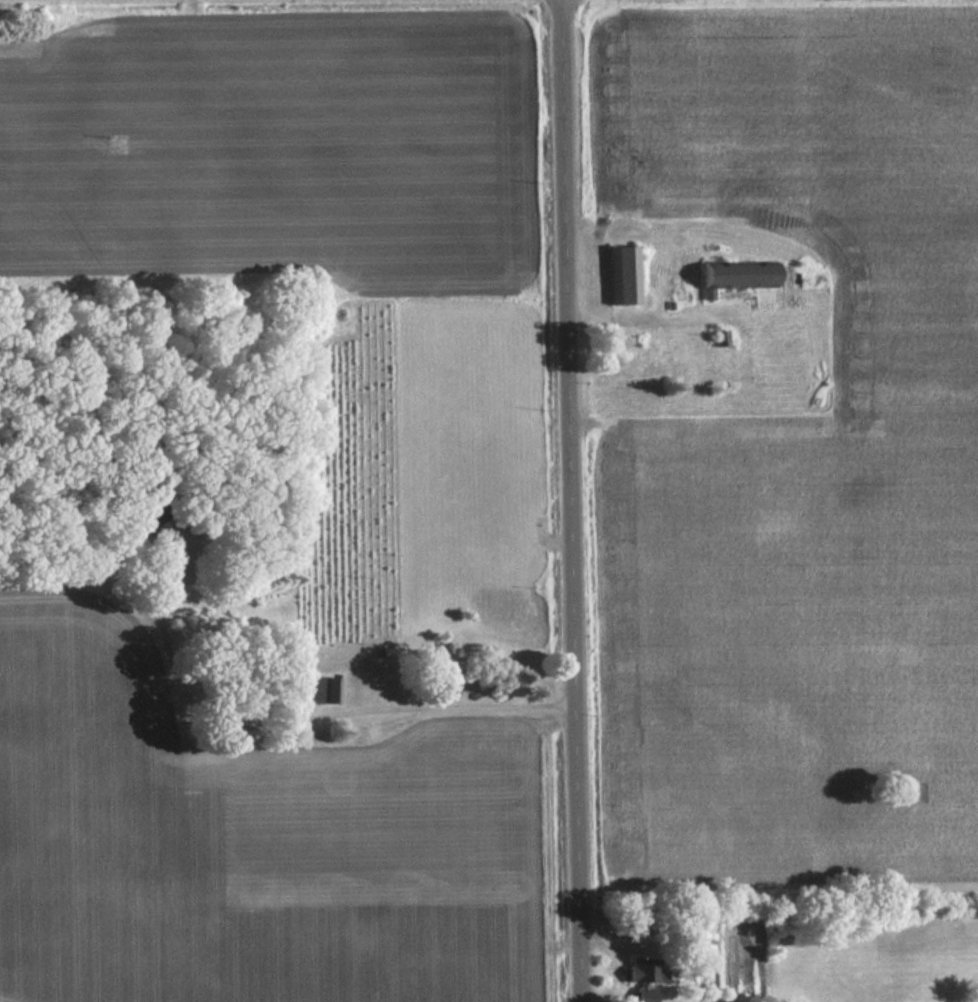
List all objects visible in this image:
building: (625, 275)
building: (795, 285)
building: (751, 287)
building: (631, 361)
road: (570, 501)
building: (327, 691)
road: (318, 717)
park: (879, 952)
building: (650, 970)

